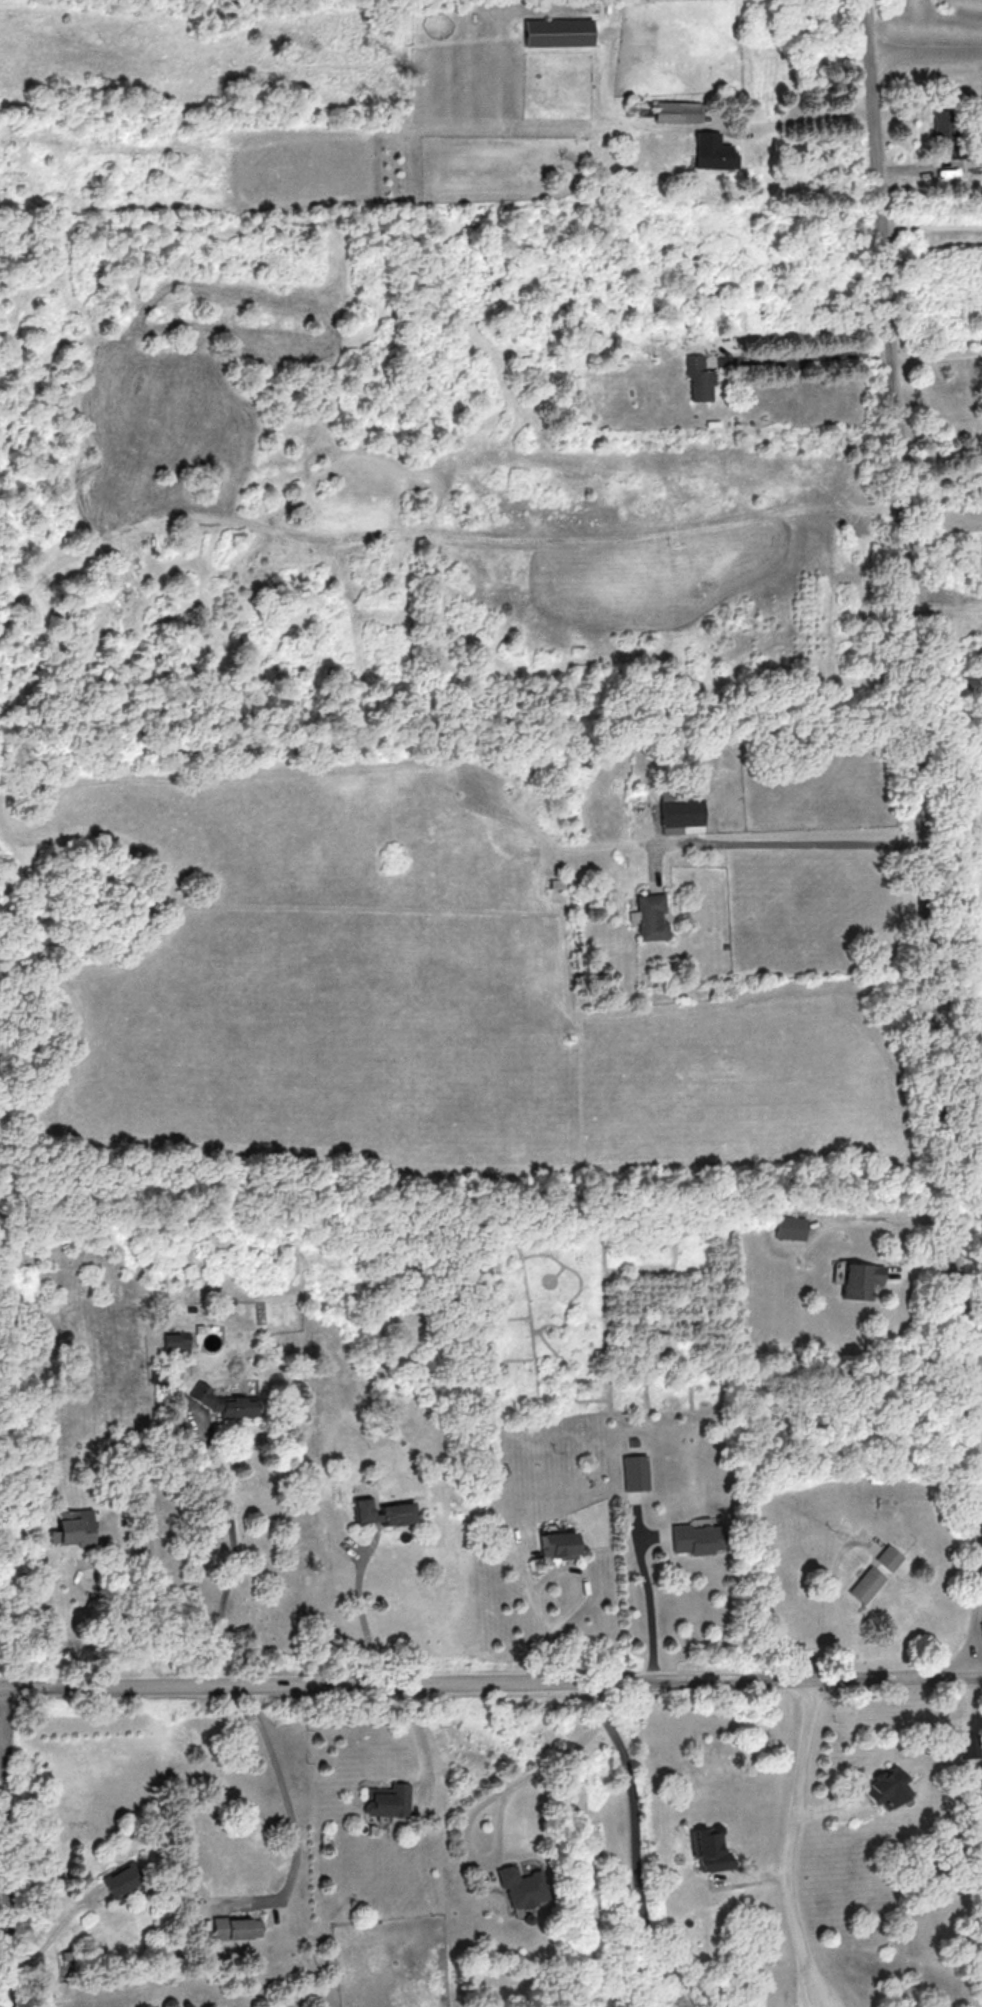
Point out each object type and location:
building: (557, 32)
road: (924, 56)
building: (676, 111)
road: (811, 117)
building: (945, 130)
building: (712, 152)
road: (935, 351)
road: (812, 354)
building: (699, 378)
building: (682, 811)
road: (922, 836)
road: (795, 838)
building: (650, 916)
building: (792, 1227)
building: (861, 1280)
building: (176, 1342)
road: (973, 1370)
building: (224, 1402)
building: (636, 1472)
building: (384, 1511)
building: (74, 1527)
building: (697, 1538)
building: (558, 1544)
building: (889, 1557)
road: (234, 1558)
road: (585, 1577)
building: (867, 1584)
road: (135, 1603)
road: (838, 1603)
road: (651, 1604)
road: (363, 1610)
road: (491, 1685)
building: (969, 1746)
building: (887, 1786)
building: (388, 1798)
road: (485, 1803)
road: (291, 1811)
road: (636, 1841)
road: (793, 1845)
road: (5, 1848)
building: (710, 1848)
building: (123, 1880)
building: (523, 1886)
building: (238, 1928)
road: (55, 1932)

